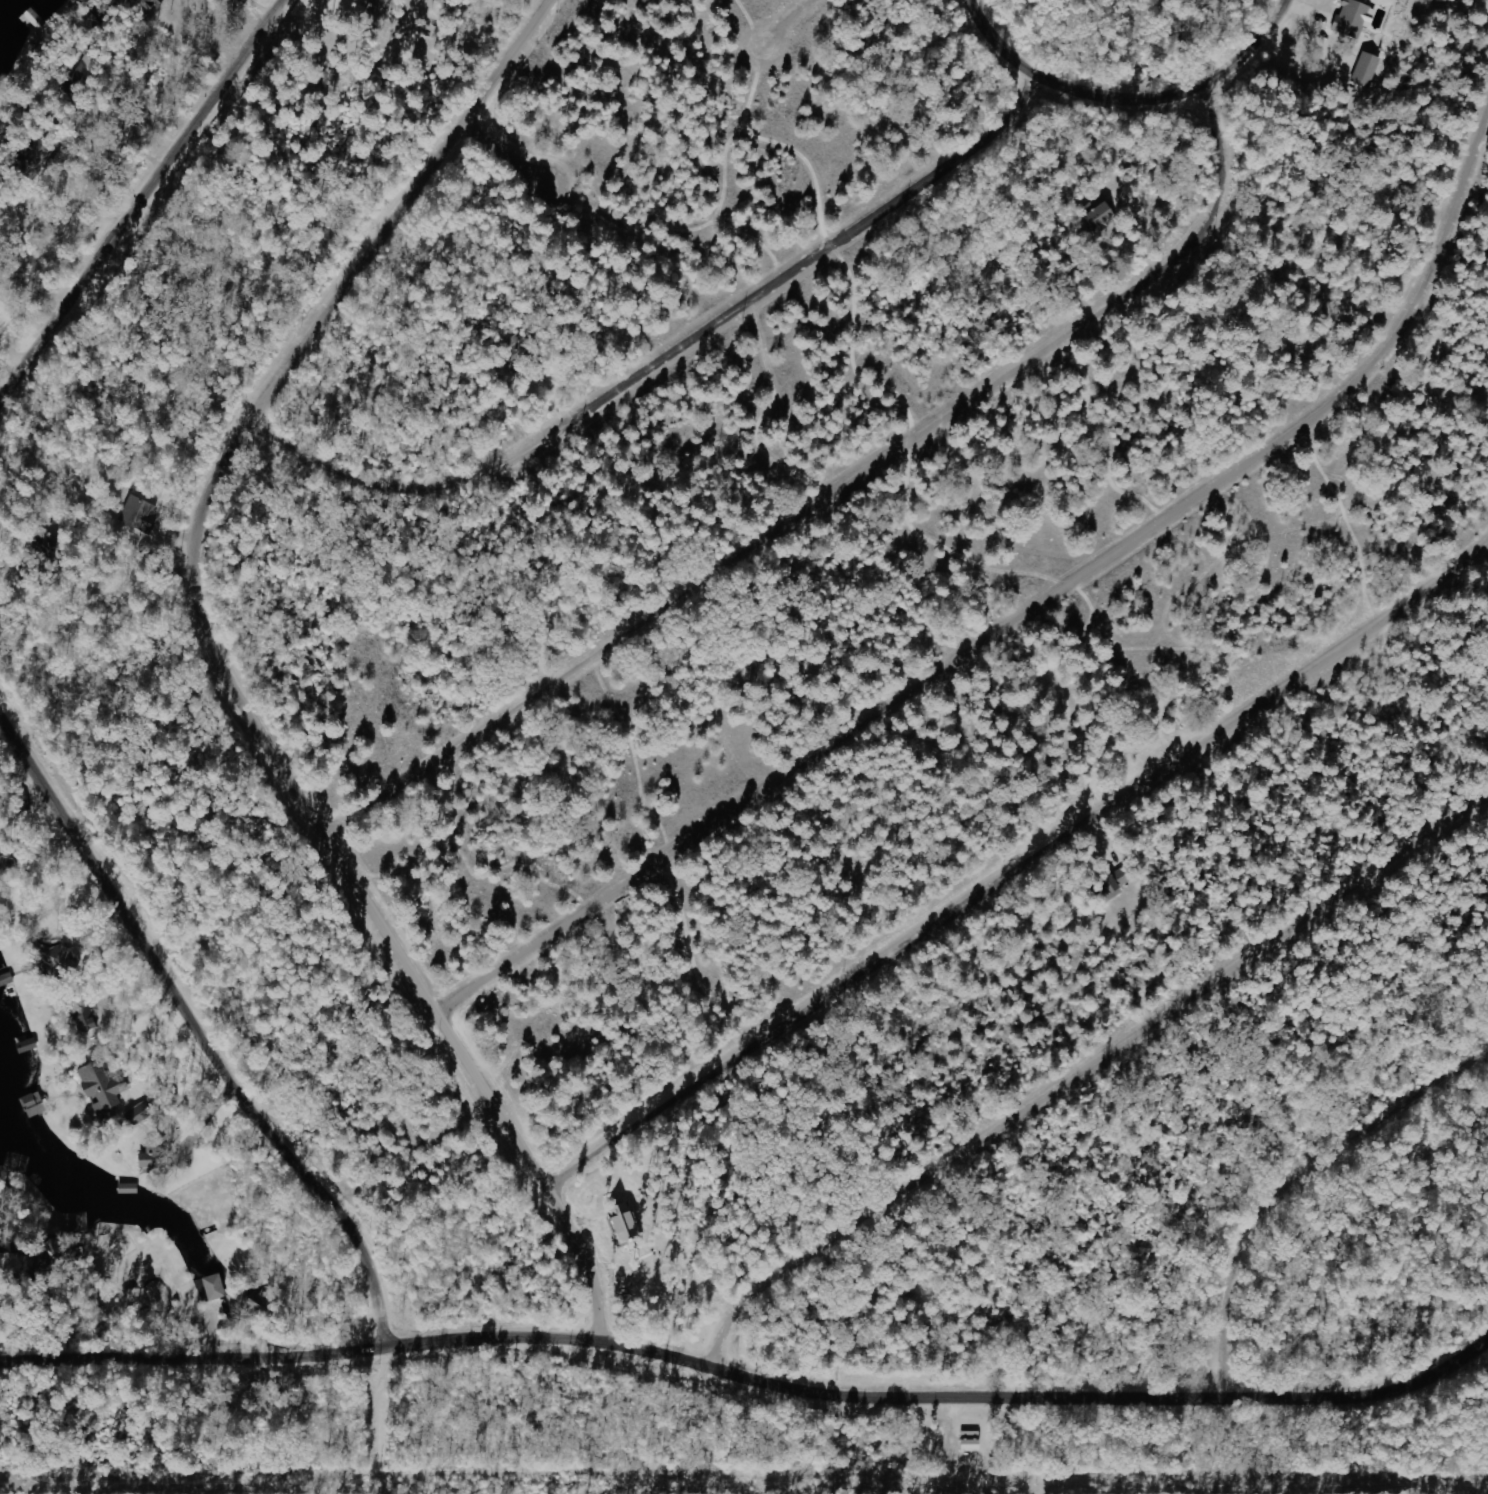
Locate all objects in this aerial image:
building: (152, 5)
building: (381, 8)
road: (835, 18)
building: (1355, 19)
building: (1368, 70)
building: (88, 72)
road: (785, 80)
road: (1155, 98)
road: (548, 139)
road: (612, 208)
road: (140, 217)
building: (1102, 217)
road: (692, 373)
road: (846, 502)
building: (141, 514)
road: (1001, 648)
road: (228, 669)
building: (6, 858)
road: (1030, 881)
building: (1118, 881)
building: (87, 1020)
road: (193, 1024)
road: (1091, 1085)
building: (104, 1087)
building: (141, 1114)
building: (156, 1155)
road: (1295, 1175)
building: (627, 1226)
building: (216, 1288)
road: (748, 1380)
building: (973, 1442)
road: (1226, 1443)

